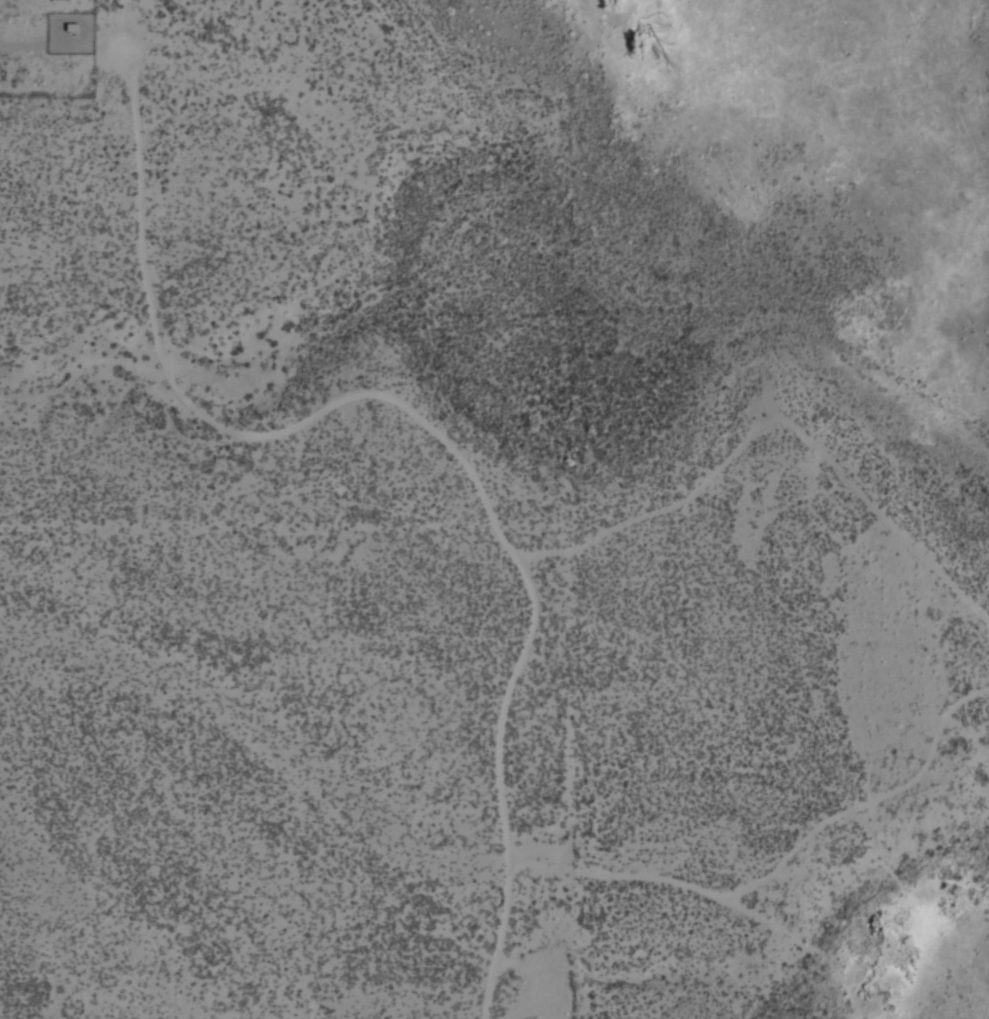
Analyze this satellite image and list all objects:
road: (406, 410)
road: (768, 418)
road: (780, 873)

